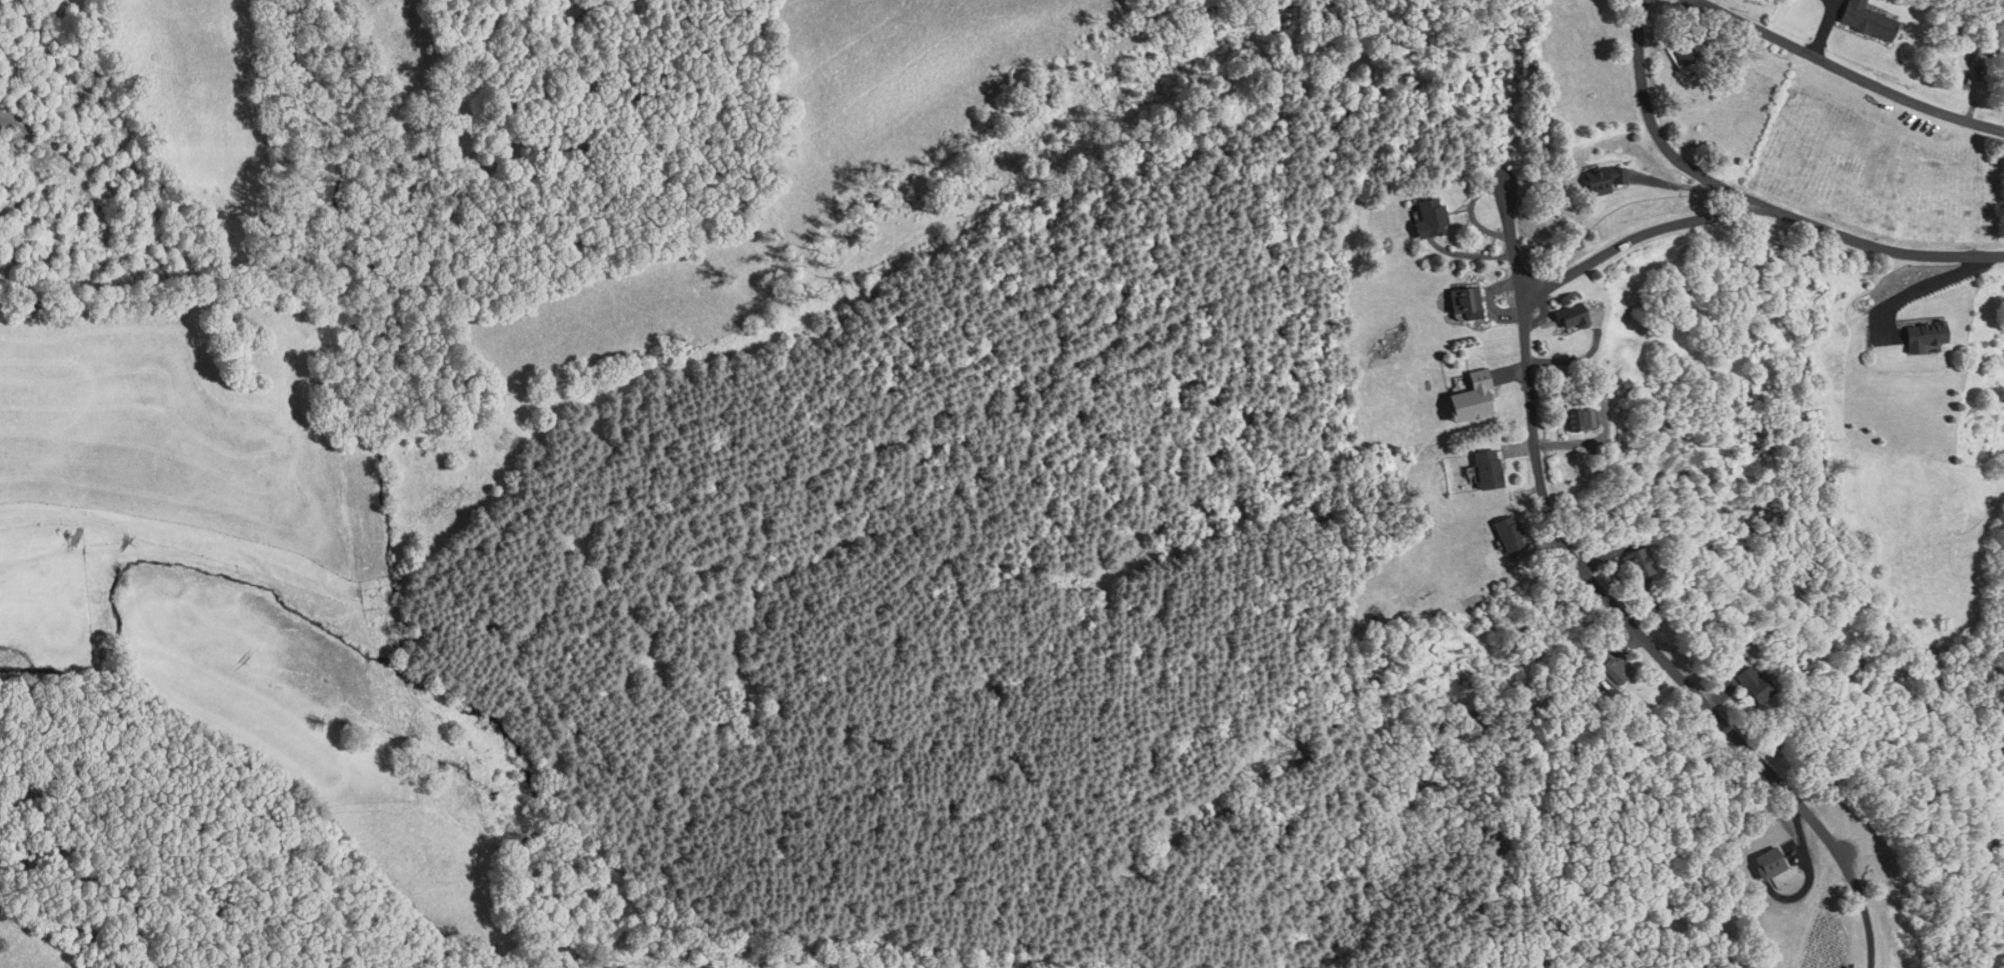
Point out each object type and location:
building: (1872, 21)
building: (1687, 53)
road: (1844, 72)
building: (1608, 181)
road: (1754, 198)
building: (1432, 218)
road: (1638, 237)
building: (1469, 300)
building: (1577, 316)
building: (1930, 336)
building: (1582, 420)
building: (1490, 470)
building: (1642, 566)
road: (1609, 602)
building: (1619, 671)
building: (1757, 684)

